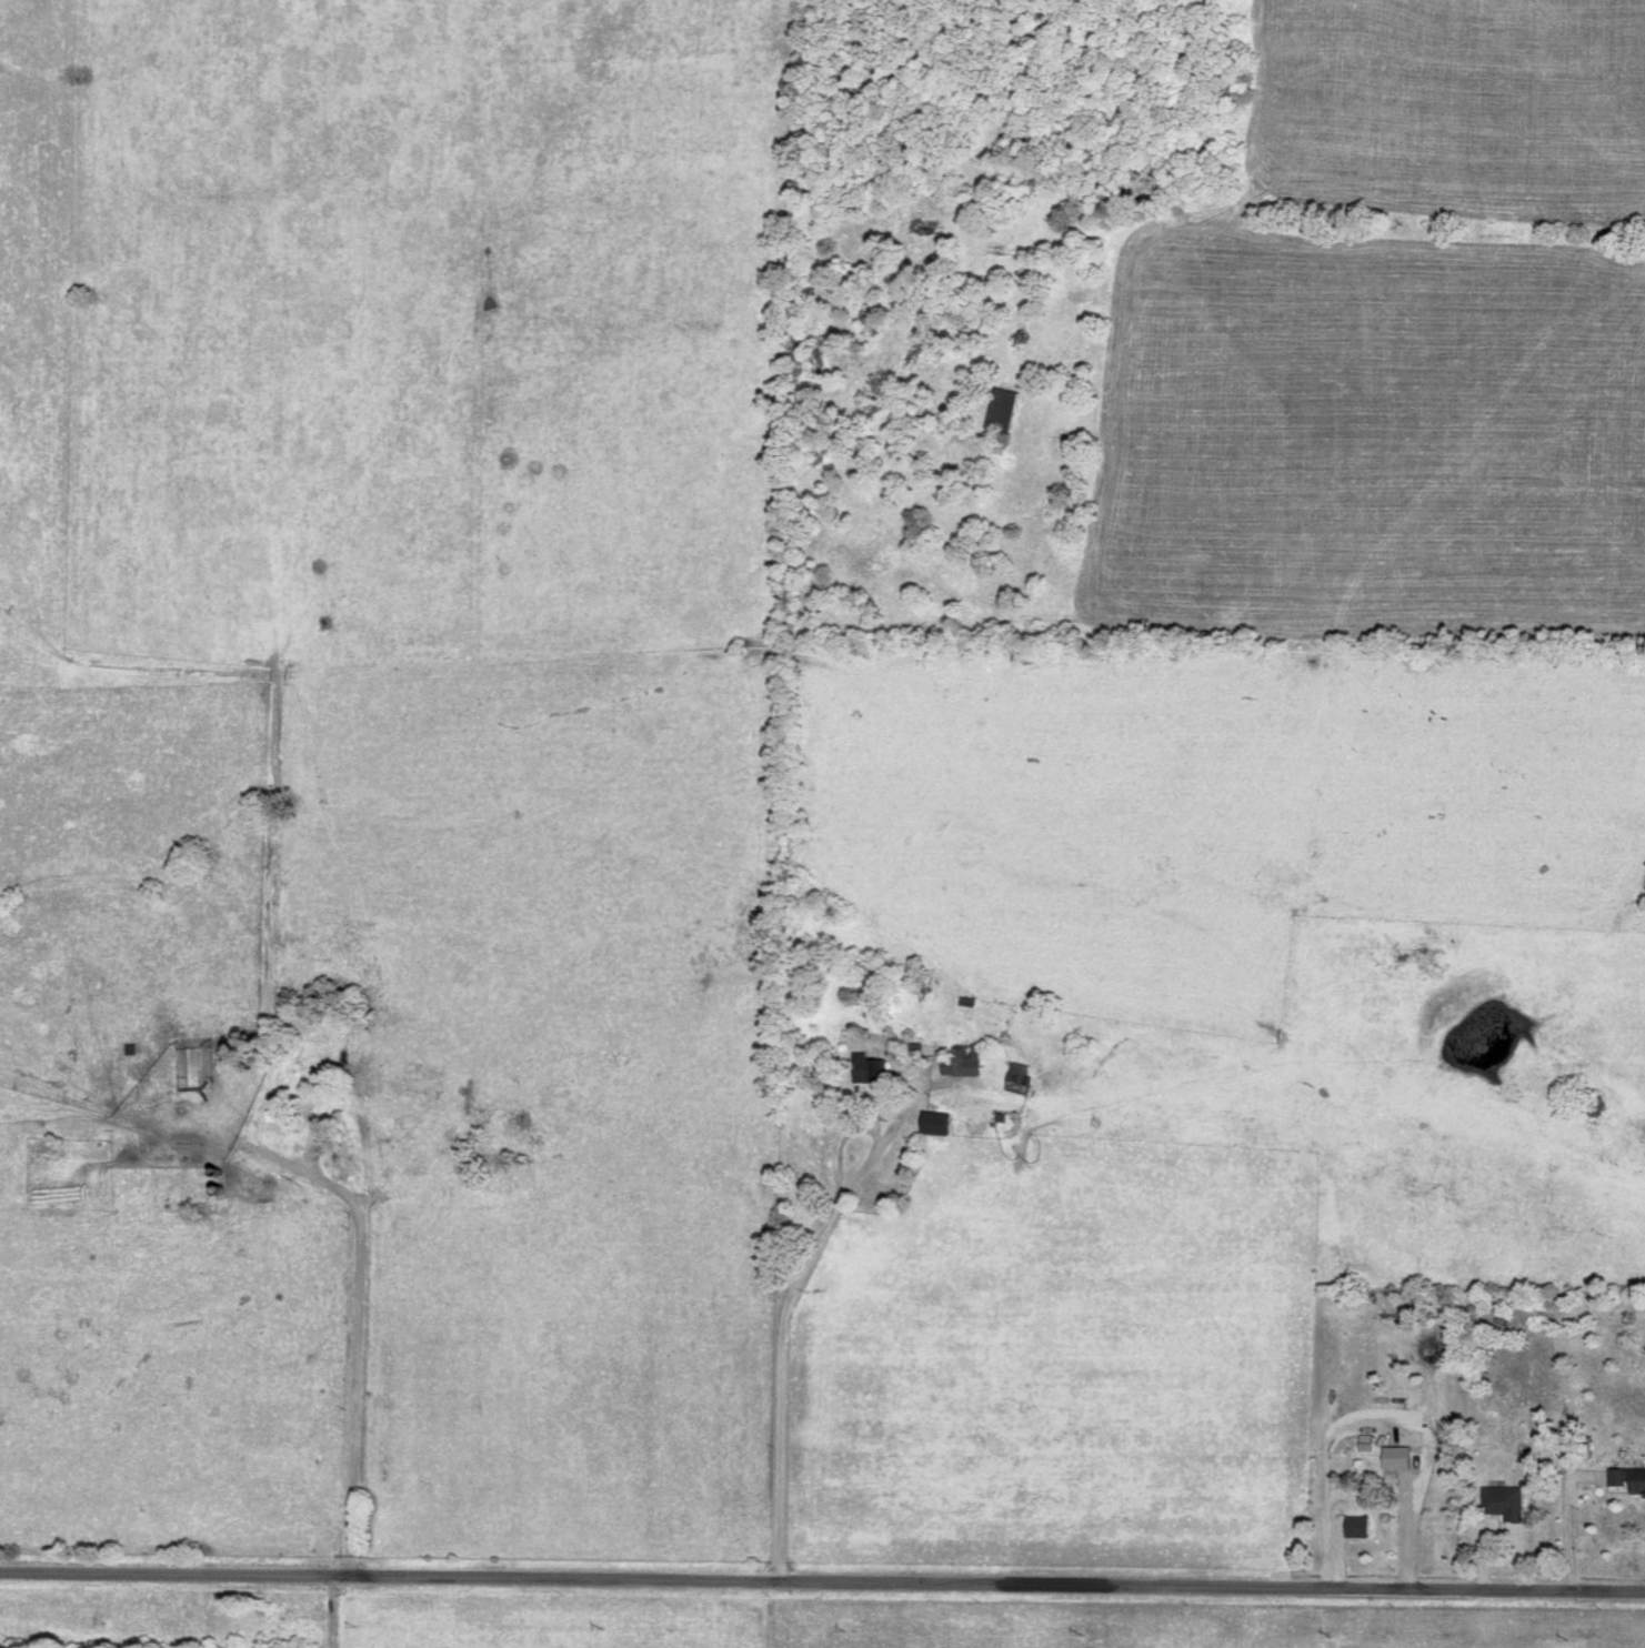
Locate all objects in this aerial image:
building: (997, 412)
building: (959, 1063)
building: (865, 1071)
building: (402, 1076)
building: (1015, 1079)
building: (271, 1108)
building: (932, 1125)
building: (181, 1182)
road: (778, 1335)
road: (353, 1354)
building: (1400, 1459)
building: (1624, 1483)
building: (1498, 1504)
road: (1556, 1524)
building: (1352, 1528)
road: (822, 1586)

